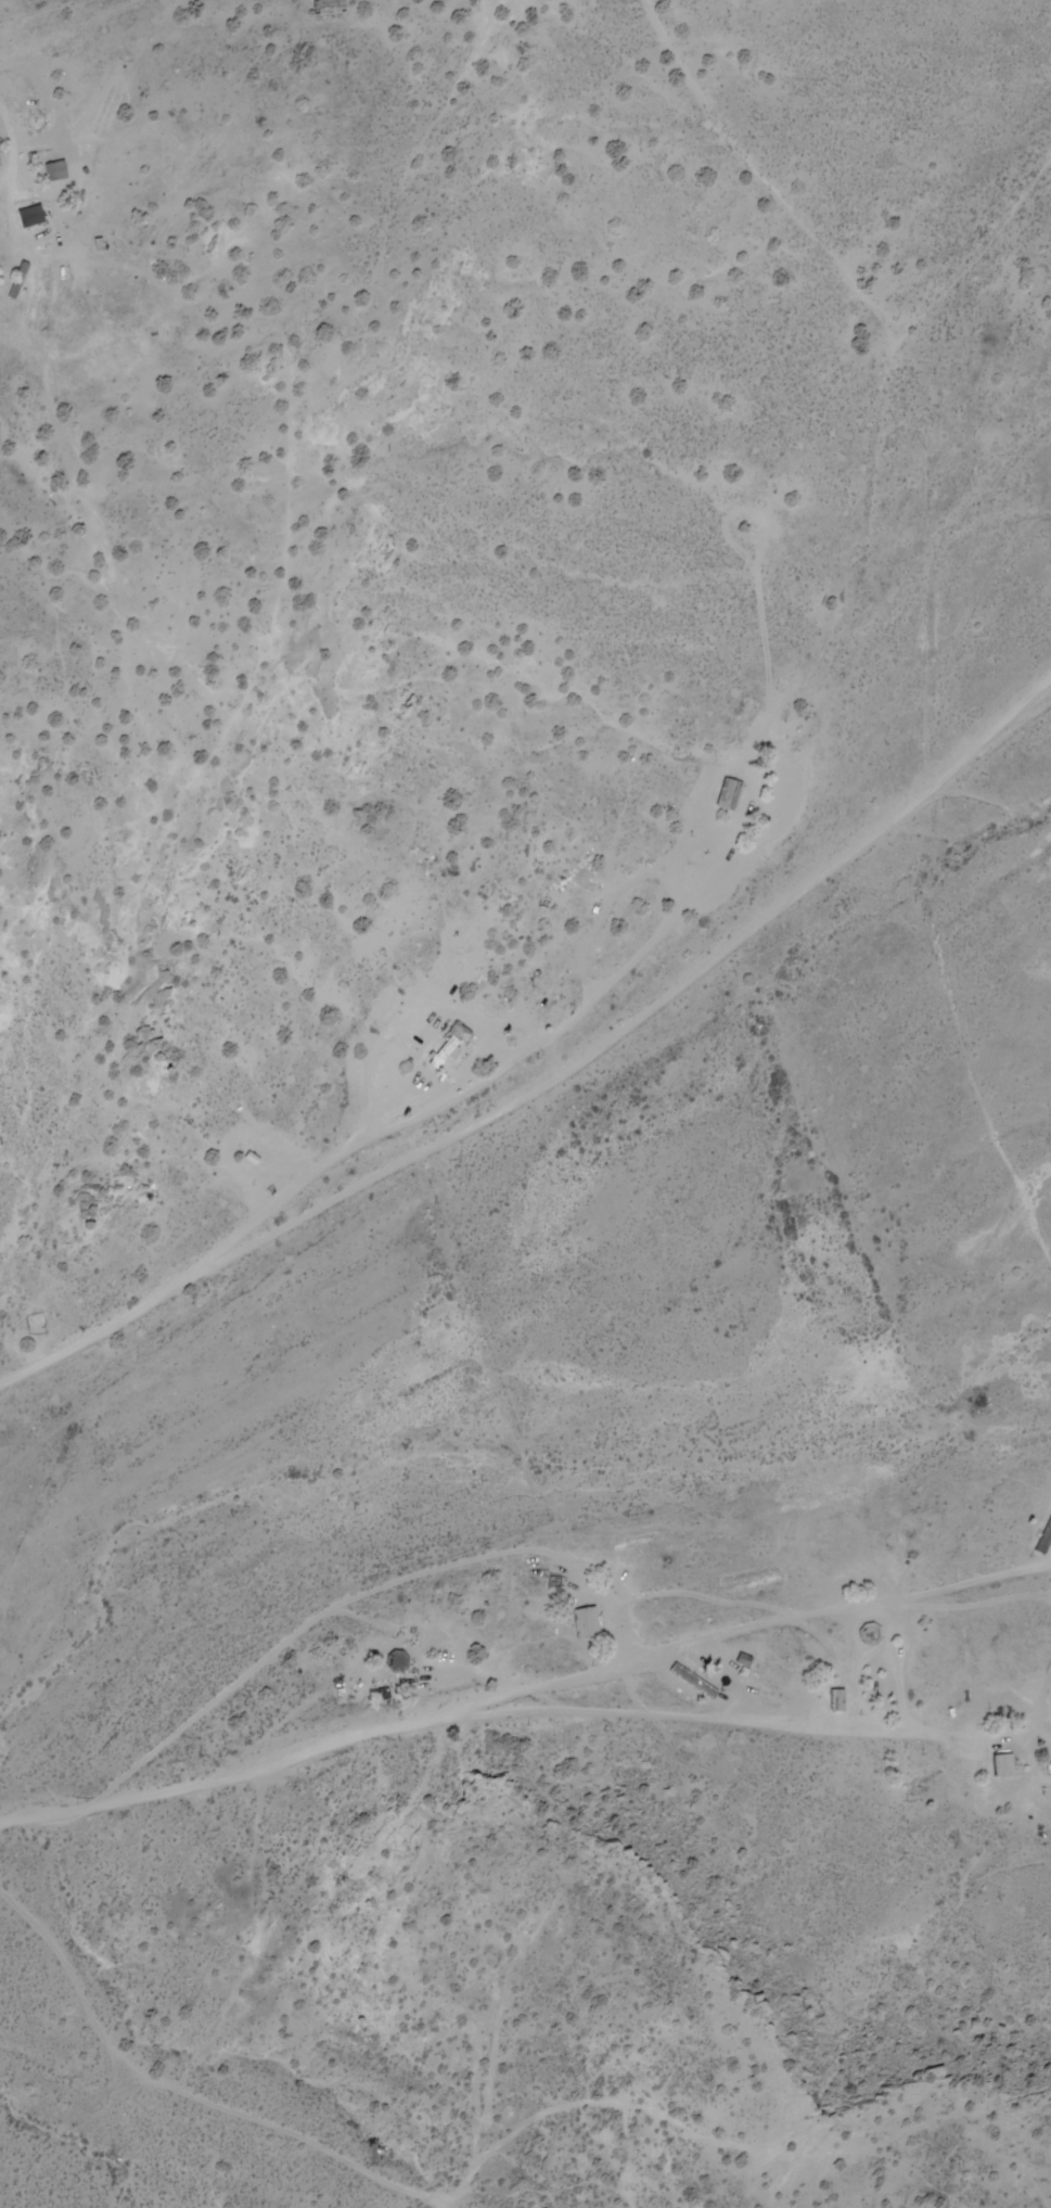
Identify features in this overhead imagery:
building: (332, 9)
road: (435, 29)
road: (128, 40)
road: (924, 673)
building: (733, 795)
road: (641, 984)
building: (452, 1046)
building: (1042, 1543)
building: (590, 1621)
road: (525, 1694)
road: (753, 1726)
building: (1007, 1763)
road: (344, 2160)

